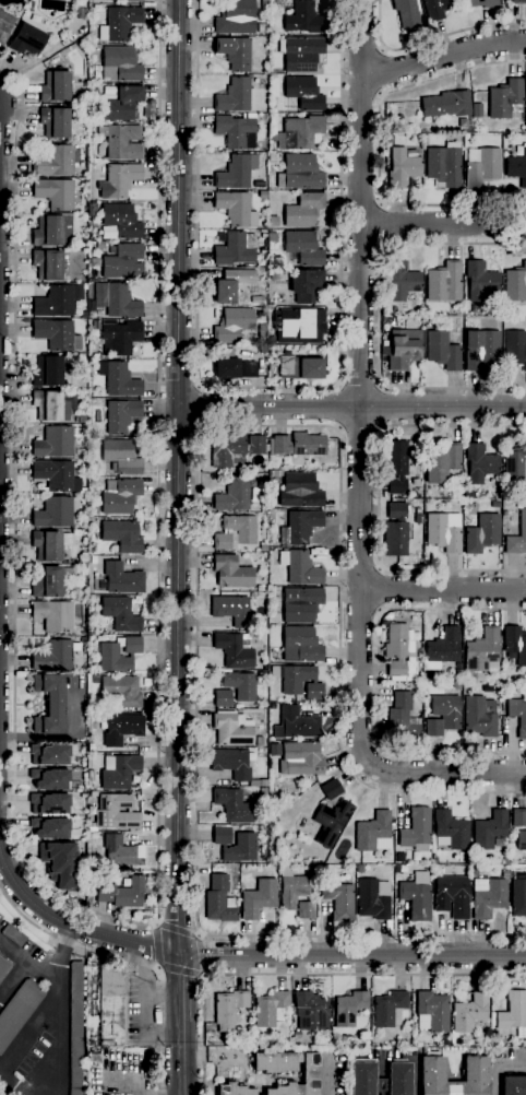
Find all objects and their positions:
building: (133, 1)
building: (517, 1)
building: (481, 3)
building: (263, 5)
building: (438, 8)
building: (50, 12)
building: (407, 14)
building: (236, 17)
building: (304, 19)
building: (119, 23)
building: (5, 26)
building: (26, 39)
road: (430, 40)
building: (235, 54)
building: (300, 54)
road: (442, 56)
building: (120, 64)
road: (382, 73)
building: (55, 87)
building: (303, 93)
building: (525, 95)
building: (234, 96)
building: (505, 99)
building: (122, 104)
building: (446, 105)
building: (476, 110)
building: (95, 114)
building: (53, 122)
building: (462, 122)
building: (525, 126)
building: (234, 129)
building: (273, 129)
building: (300, 132)
building: (390, 140)
building: (121, 141)
road: (380, 146)
building: (55, 162)
building: (444, 166)
building: (481, 166)
building: (516, 167)
building: (403, 168)
building: (234, 173)
building: (300, 173)
building: (119, 180)
building: (55, 193)
building: (262, 195)
building: (92, 209)
building: (236, 209)
building: (303, 210)
building: (121, 220)
road: (381, 224)
road: (443, 224)
building: (52, 231)
building: (272, 240)
building: (235, 248)
building: (302, 248)
building: (123, 262)
building: (47, 264)
building: (274, 274)
building: (479, 280)
building: (402, 281)
building: (443, 282)
building: (231, 284)
building: (515, 284)
building: (306, 285)
building: (279, 298)
building: (57, 302)
building: (121, 302)
road: (379, 316)
building: (97, 325)
building: (234, 325)
building: (300, 326)
building: (57, 335)
building: (120, 338)
building: (515, 348)
building: (404, 349)
building: (480, 349)
building: (263, 350)
building: (442, 351)
building: (232, 367)
building: (300, 368)
building: (271, 370)
building: (47, 372)
road: (360, 377)
building: (118, 379)
road: (359, 386)
road: (268, 387)
building: (50, 405)
road: (337, 407)
road: (200, 408)
road: (351, 408)
road: (382, 408)
building: (121, 415)
building: (80, 420)
road: (359, 428)
building: (57, 441)
building: (299, 445)
building: (235, 450)
building: (120, 457)
building: (515, 462)
building: (442, 463)
building: (479, 463)
building: (396, 467)
building: (56, 475)
road: (177, 475)
building: (415, 482)
building: (82, 491)
building: (299, 491)
building: (232, 495)
building: (120, 496)
road: (379, 498)
building: (263, 504)
road: (196, 511)
building: (53, 513)
building: (504, 514)
building: (300, 527)
building: (240, 528)
building: (395, 530)
building: (443, 531)
building: (482, 533)
building: (122, 535)
building: (517, 538)
building: (222, 542)
building: (49, 544)
building: (263, 549)
building: (93, 560)
building: (82, 562)
building: (300, 568)
building: (83, 569)
building: (231, 572)
building: (120, 579)
building: (50, 581)
building: (260, 588)
road: (442, 588)
road: (381, 589)
building: (300, 604)
building: (231, 610)
building: (120, 614)
building: (53, 615)
building: (515, 644)
building: (300, 645)
building: (442, 649)
building: (235, 650)
building: (482, 651)
building: (399, 654)
building: (118, 655)
building: (53, 657)
building: (457, 674)
building: (469, 678)
building: (296, 679)
road: (378, 681)
building: (240, 685)
building: (418, 685)
building: (456, 685)
building: (466, 687)
building: (121, 691)
building: (314, 692)
building: (425, 693)
building: (223, 698)
building: (49, 705)
building: (443, 715)
building: (517, 715)
building: (401, 717)
building: (479, 718)
building: (296, 725)
building: (121, 729)
building: (232, 729)
building: (260, 742)
building: (49, 755)
building: (300, 758)
building: (237, 765)
building: (118, 772)
road: (441, 772)
building: (50, 779)
building: (331, 789)
building: (263, 792)
building: (49, 804)
building: (232, 806)
building: (116, 812)
building: (518, 819)
building: (331, 823)
building: (91, 827)
building: (50, 828)
building: (417, 831)
building: (450, 831)
building: (489, 831)
building: (373, 833)
building: (246, 838)
building: (521, 840)
building: (500, 843)
building: (121, 852)
building: (505, 861)
building: (60, 863)
building: (312, 869)
building: (359, 869)
building: (396, 869)
building: (504, 874)
building: (291, 887)
building: (121, 894)
building: (452, 896)
building: (488, 897)
building: (259, 898)
building: (518, 898)
building: (373, 899)
building: (219, 900)
building: (338, 900)
building: (416, 900)
building: (306, 910)
road: (136, 923)
road: (72, 927)
road: (177, 931)
building: (12, 934)
road: (156, 946)
road: (351, 955)
road: (64, 956)
road: (201, 956)
road: (130, 959)
road: (28, 964)
building: (3, 968)
road: (307, 975)
road: (13, 980)
road: (181, 990)
building: (111, 1008)
building: (349, 1008)
building: (387, 1008)
building: (229, 1009)
building: (270, 1009)
building: (19, 1011)
building: (310, 1011)
building: (513, 1011)
building: (432, 1012)
building: (470, 1014)
building: (75, 1024)
road: (28, 1027)
building: (254, 1033)
building: (519, 1033)
building: (296, 1035)
road: (57, 1040)
building: (499, 1040)
building: (299, 1058)
road: (181, 1062)
building: (274, 1062)
building: (310, 1072)
road: (133, 1073)
building: (474, 1073)
building: (363, 1075)
road: (11, 1085)
building: (513, 1085)
building: (232, 1090)
building: (74, 1092)
road: (159, 1094)

